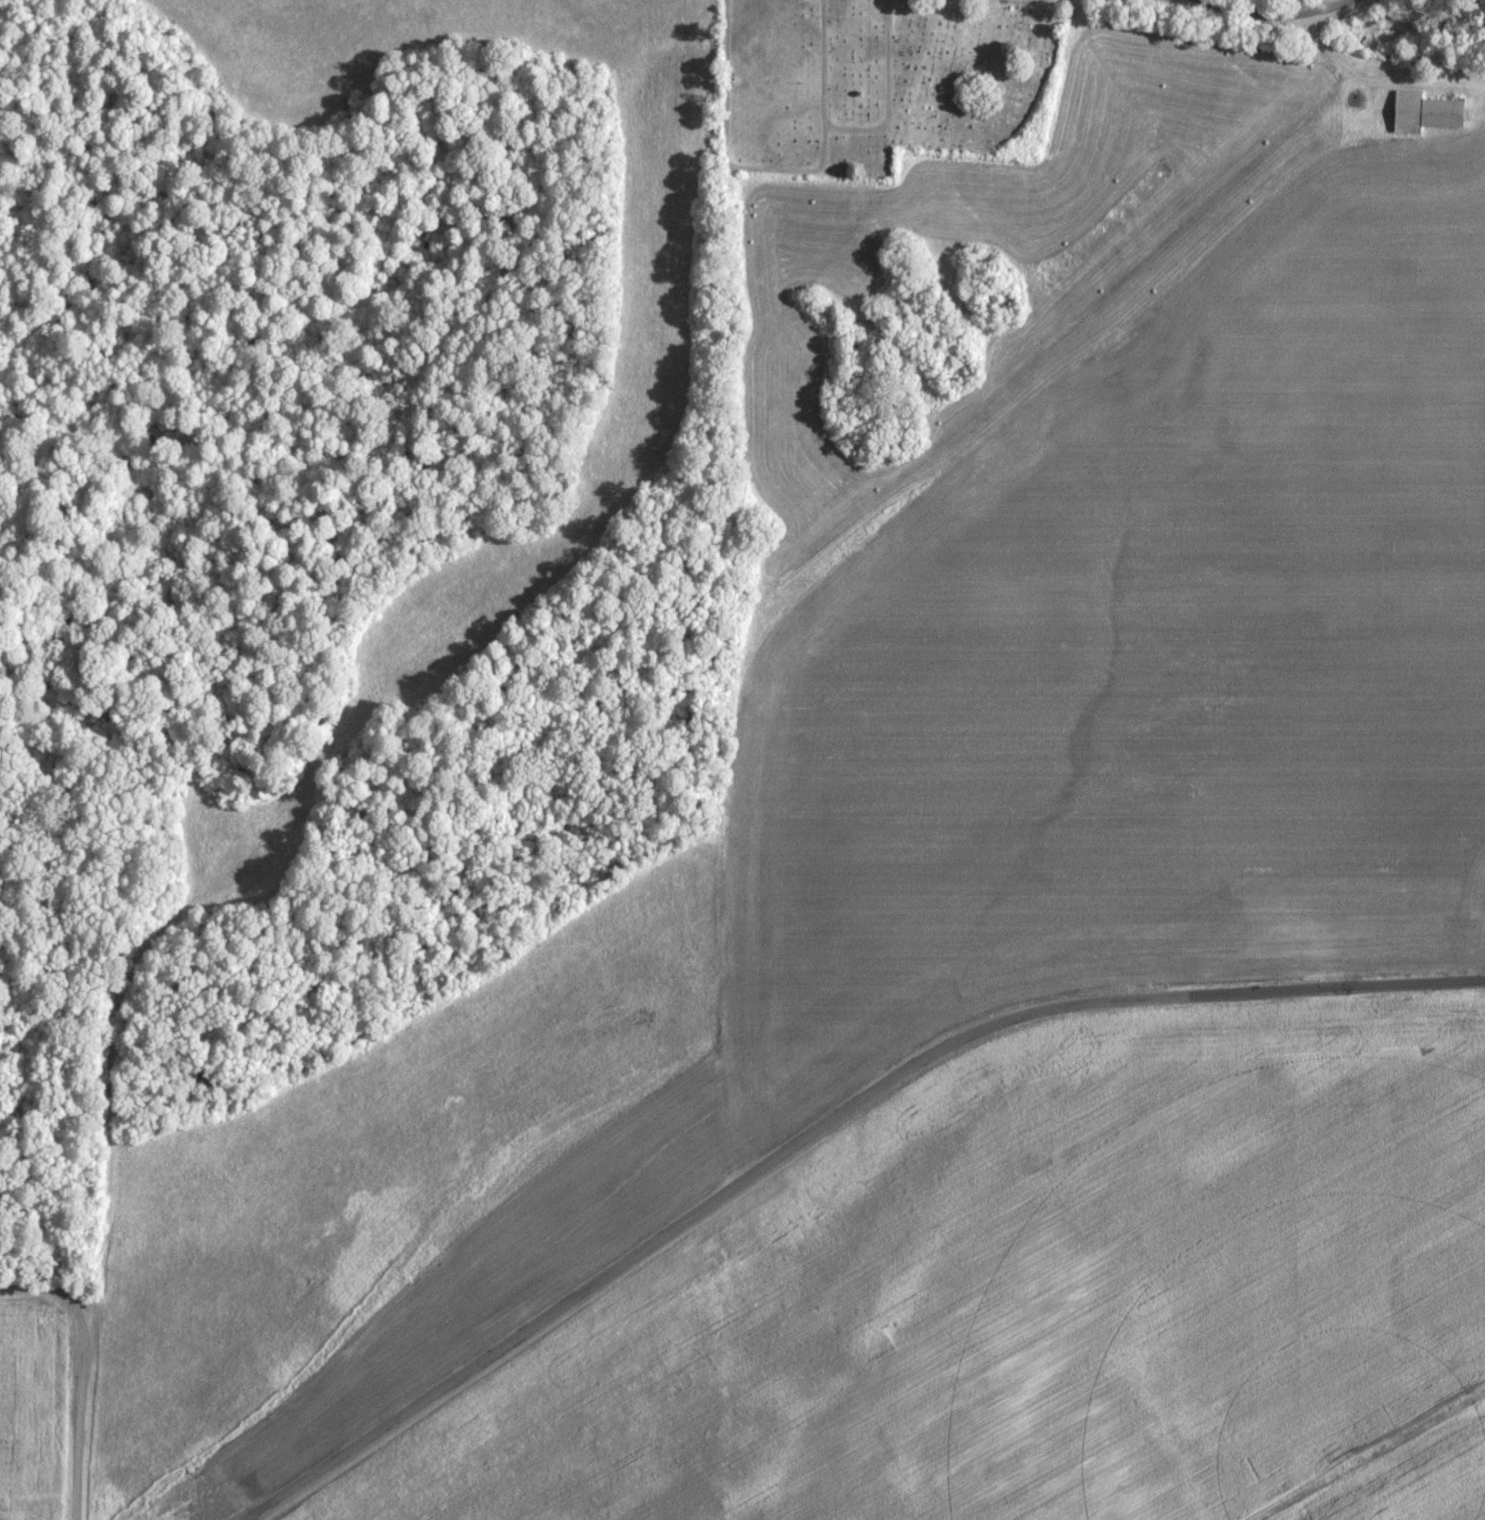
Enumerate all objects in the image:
road: (1284, 2)
road: (1297, 9)
road: (1454, 9)
building: (1429, 111)
road: (850, 136)
road: (815, 1127)
road: (86, 1370)

